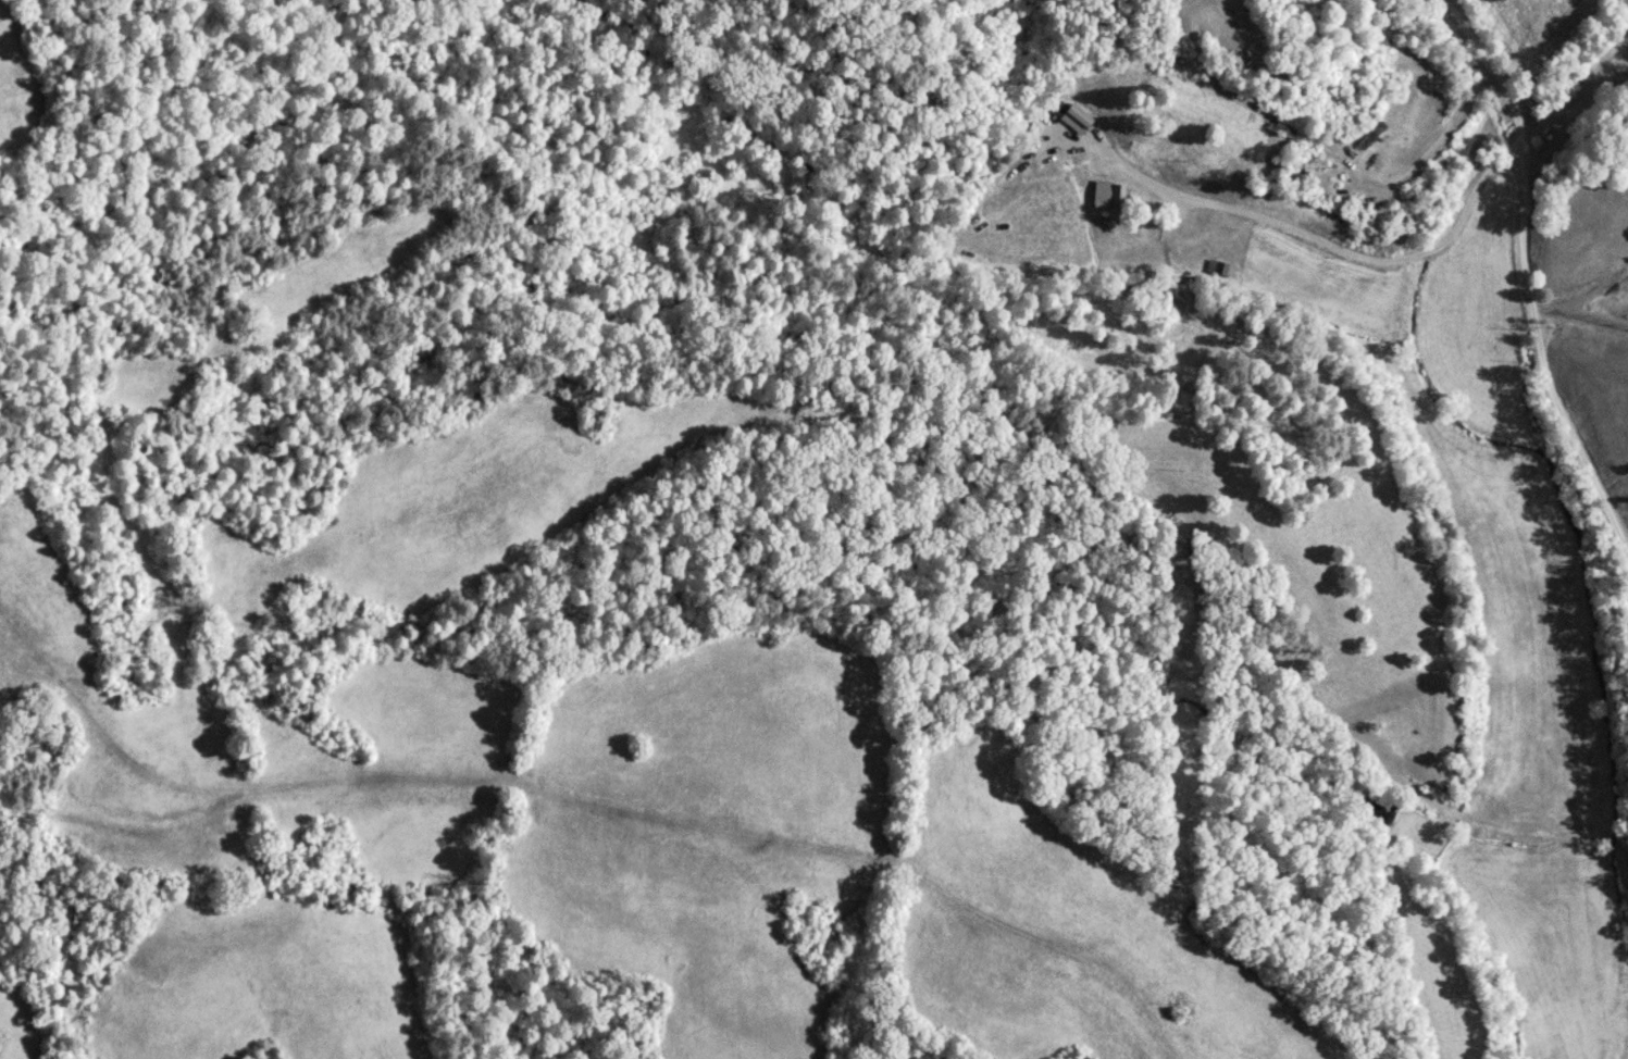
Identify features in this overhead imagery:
building: (1079, 120)
building: (1374, 135)
building: (1108, 196)
road: (1531, 291)

